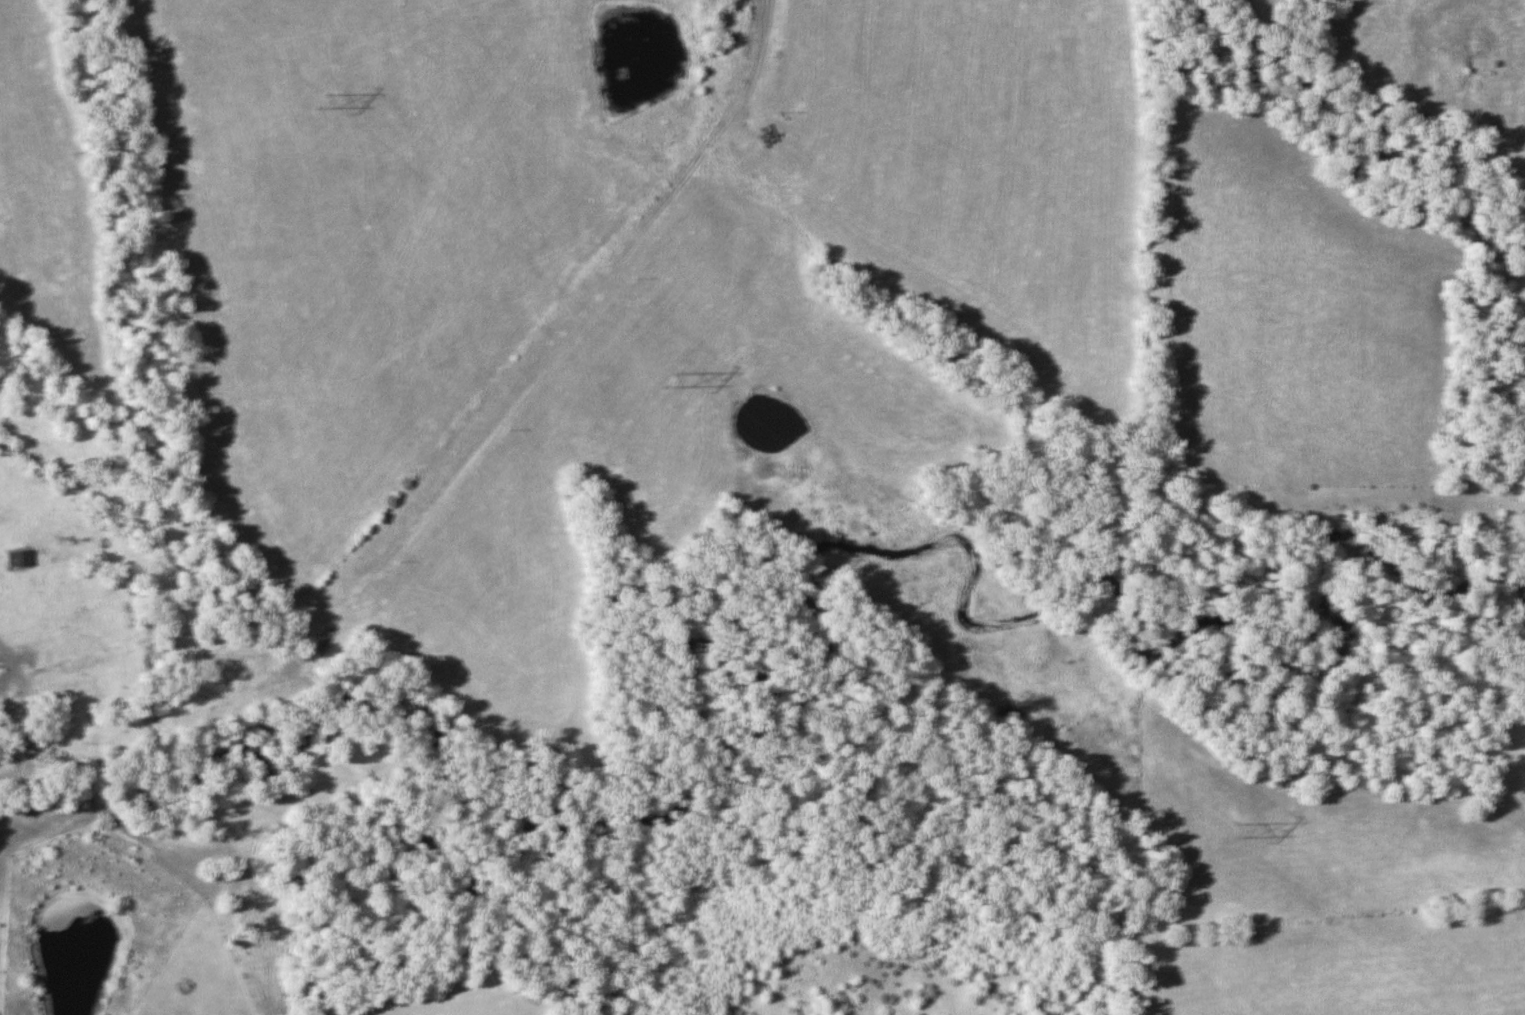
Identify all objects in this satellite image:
power tower: (324, 100)
power tower: (671, 379)
building: (21, 558)
power tower: (1229, 832)

